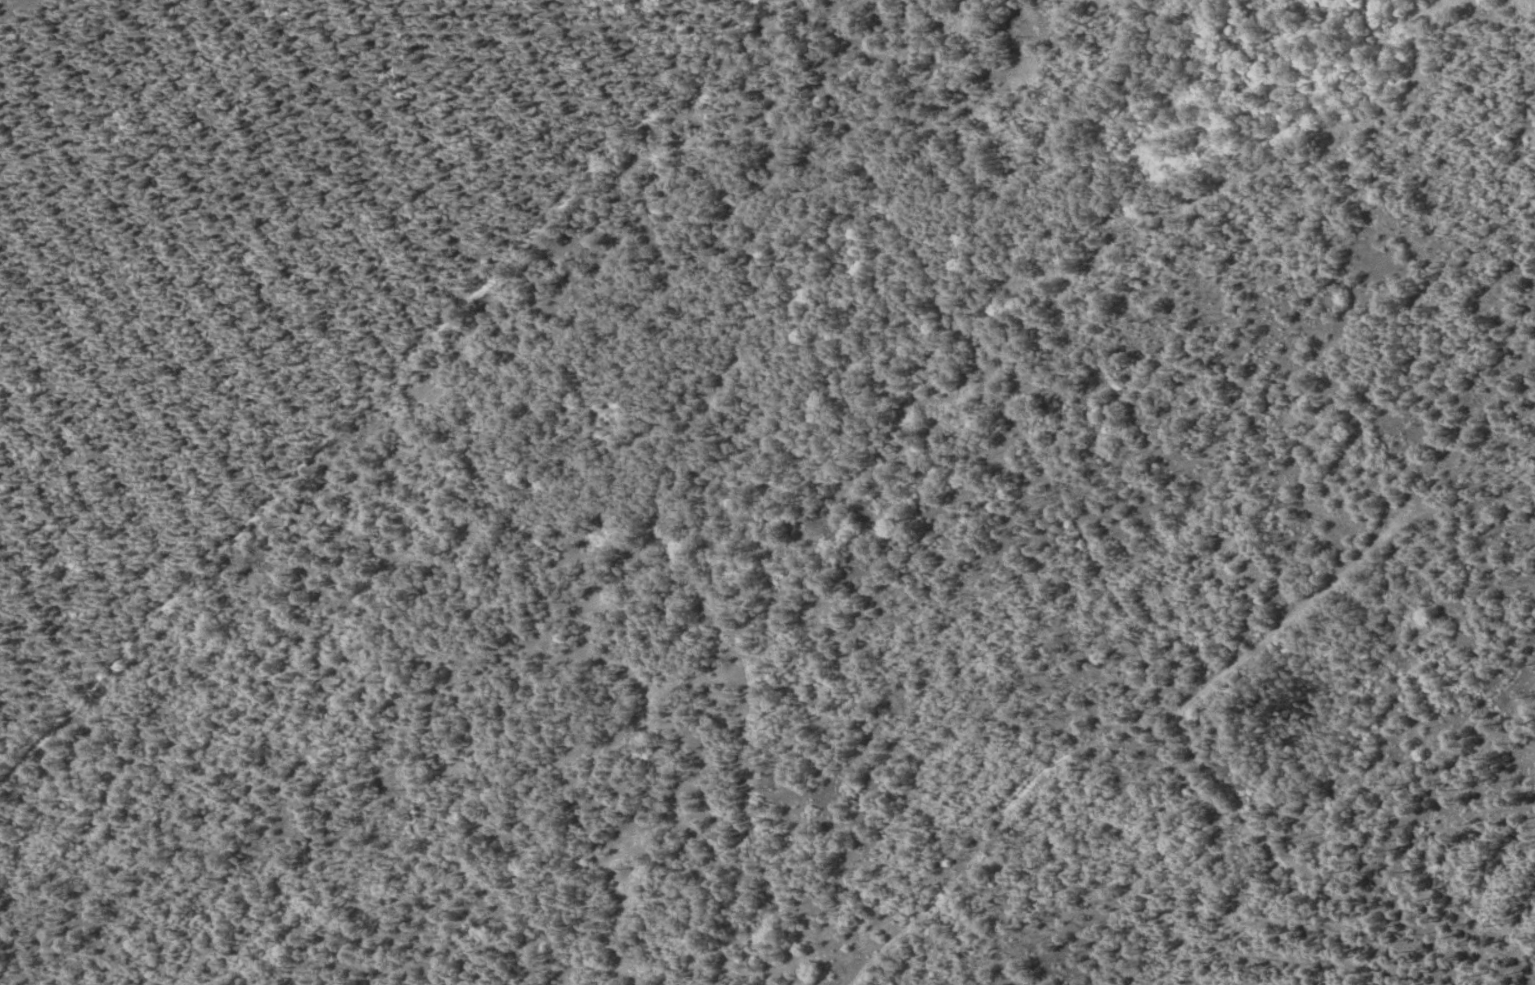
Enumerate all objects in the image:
road: (979, 354)
road: (1222, 784)
road: (995, 825)
road: (1340, 921)

